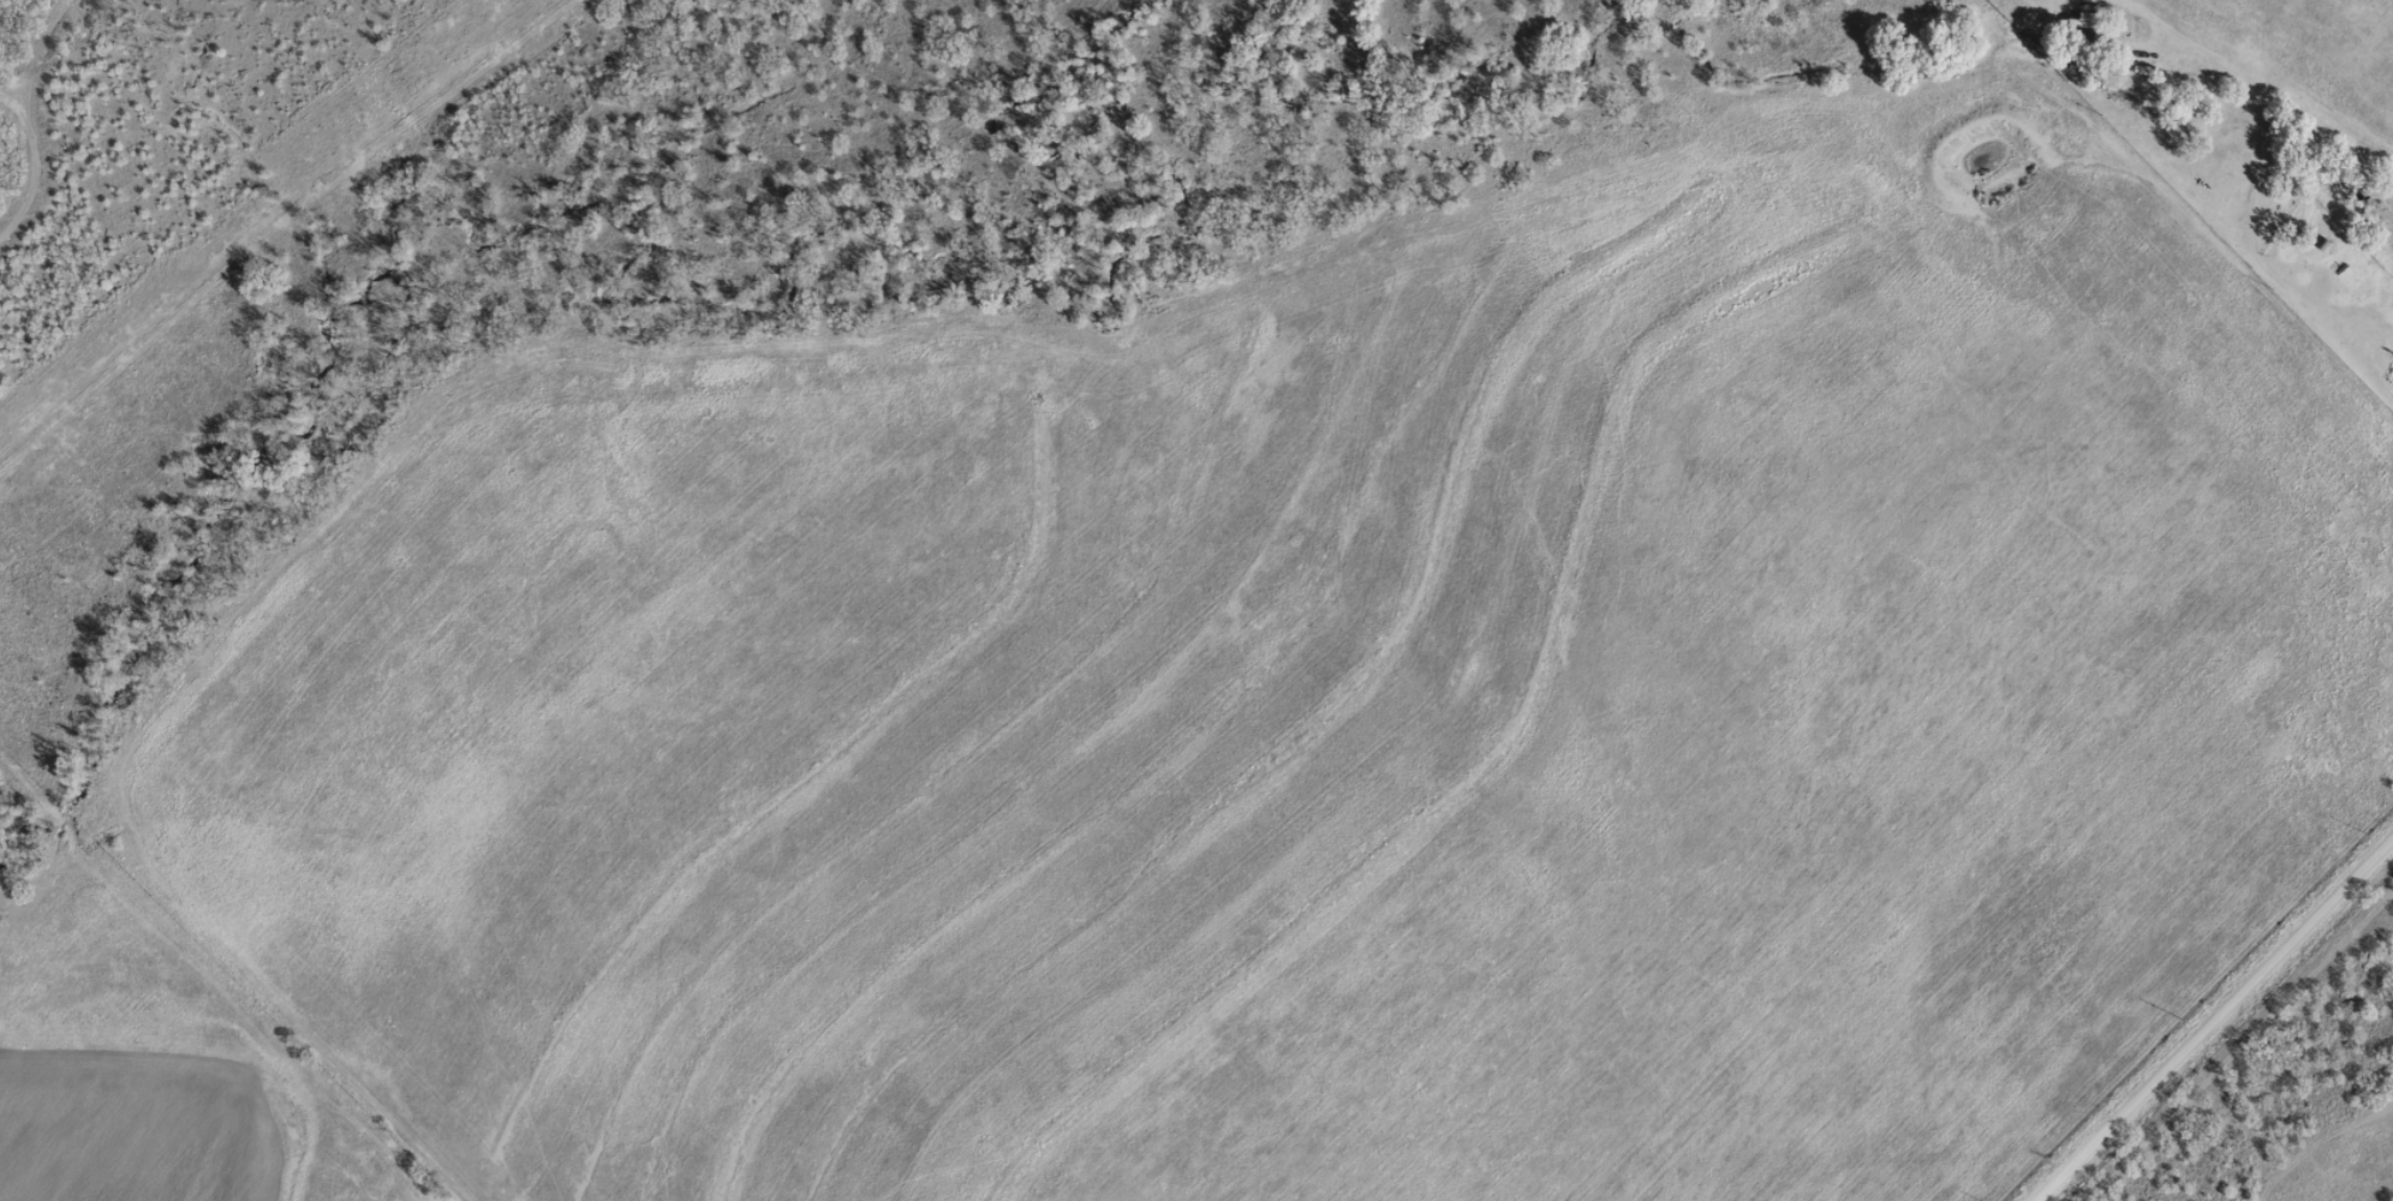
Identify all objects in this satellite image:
building: (2078, 24)
road: (2190, 234)
road: (2208, 1016)

